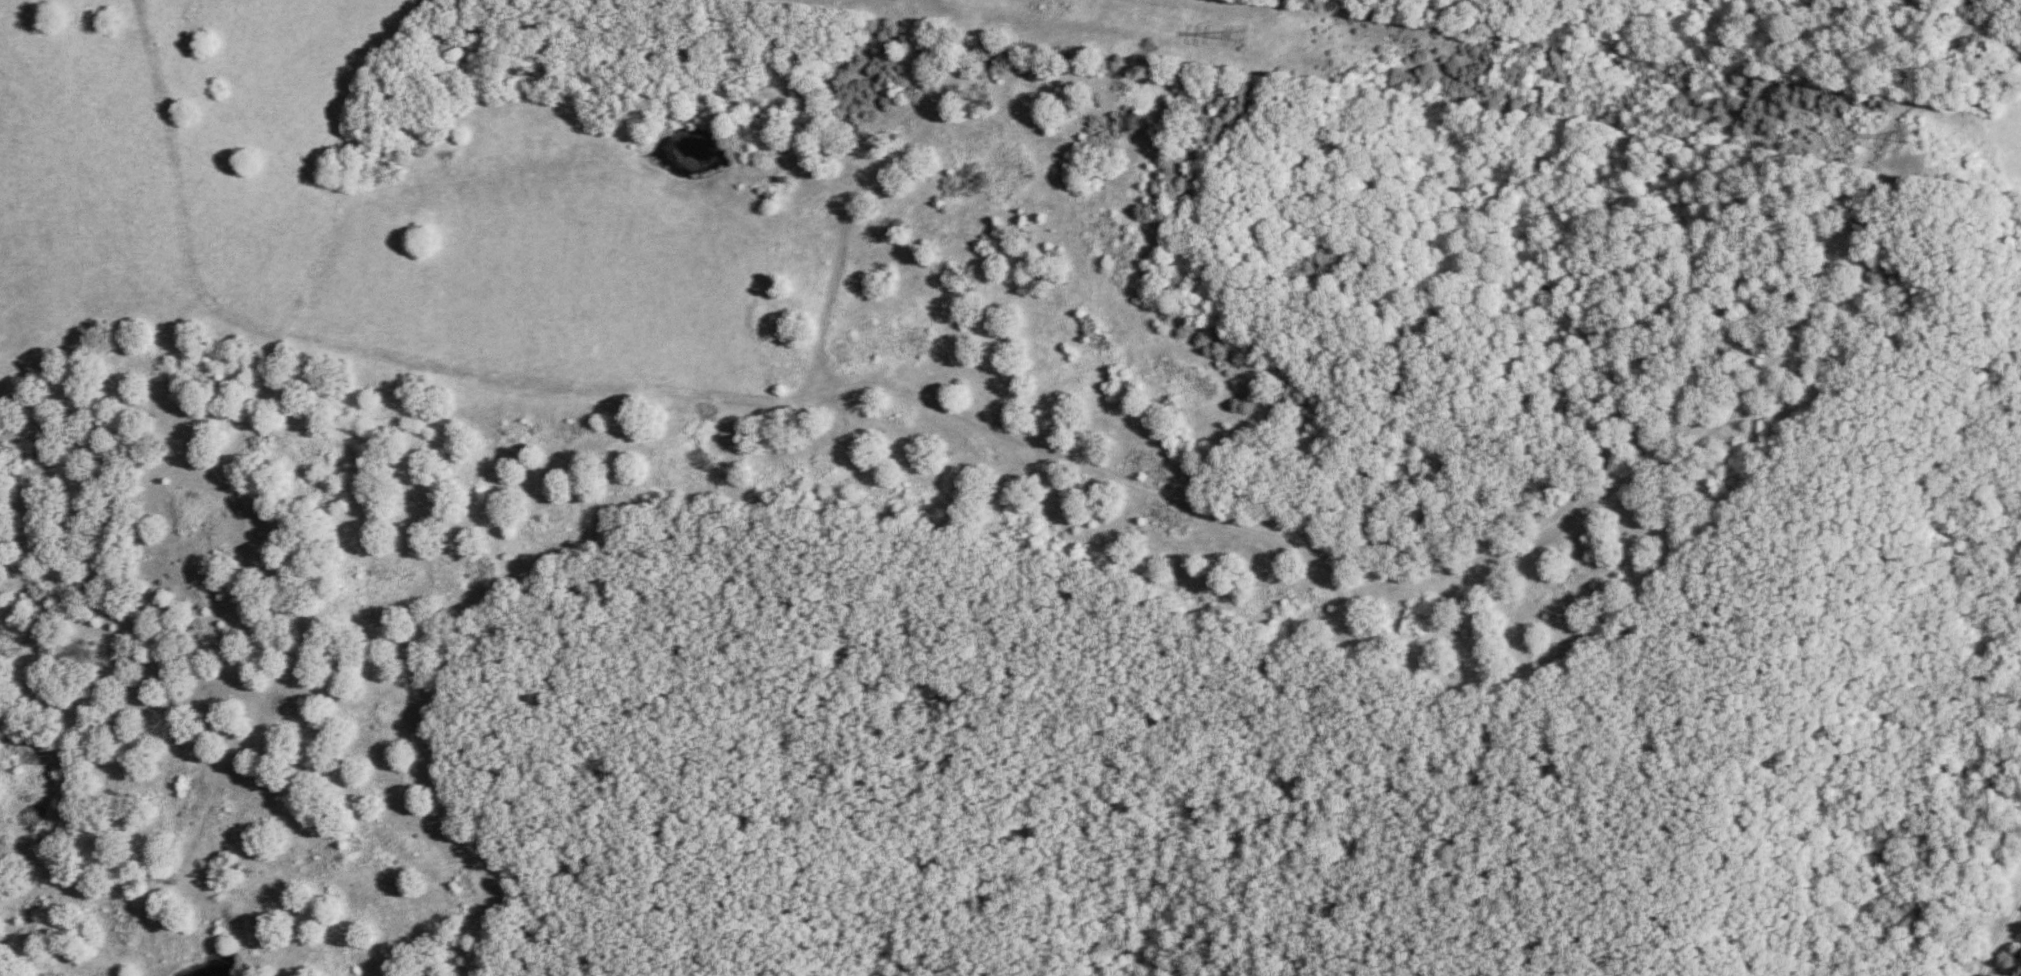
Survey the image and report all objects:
road: (2003, 943)

